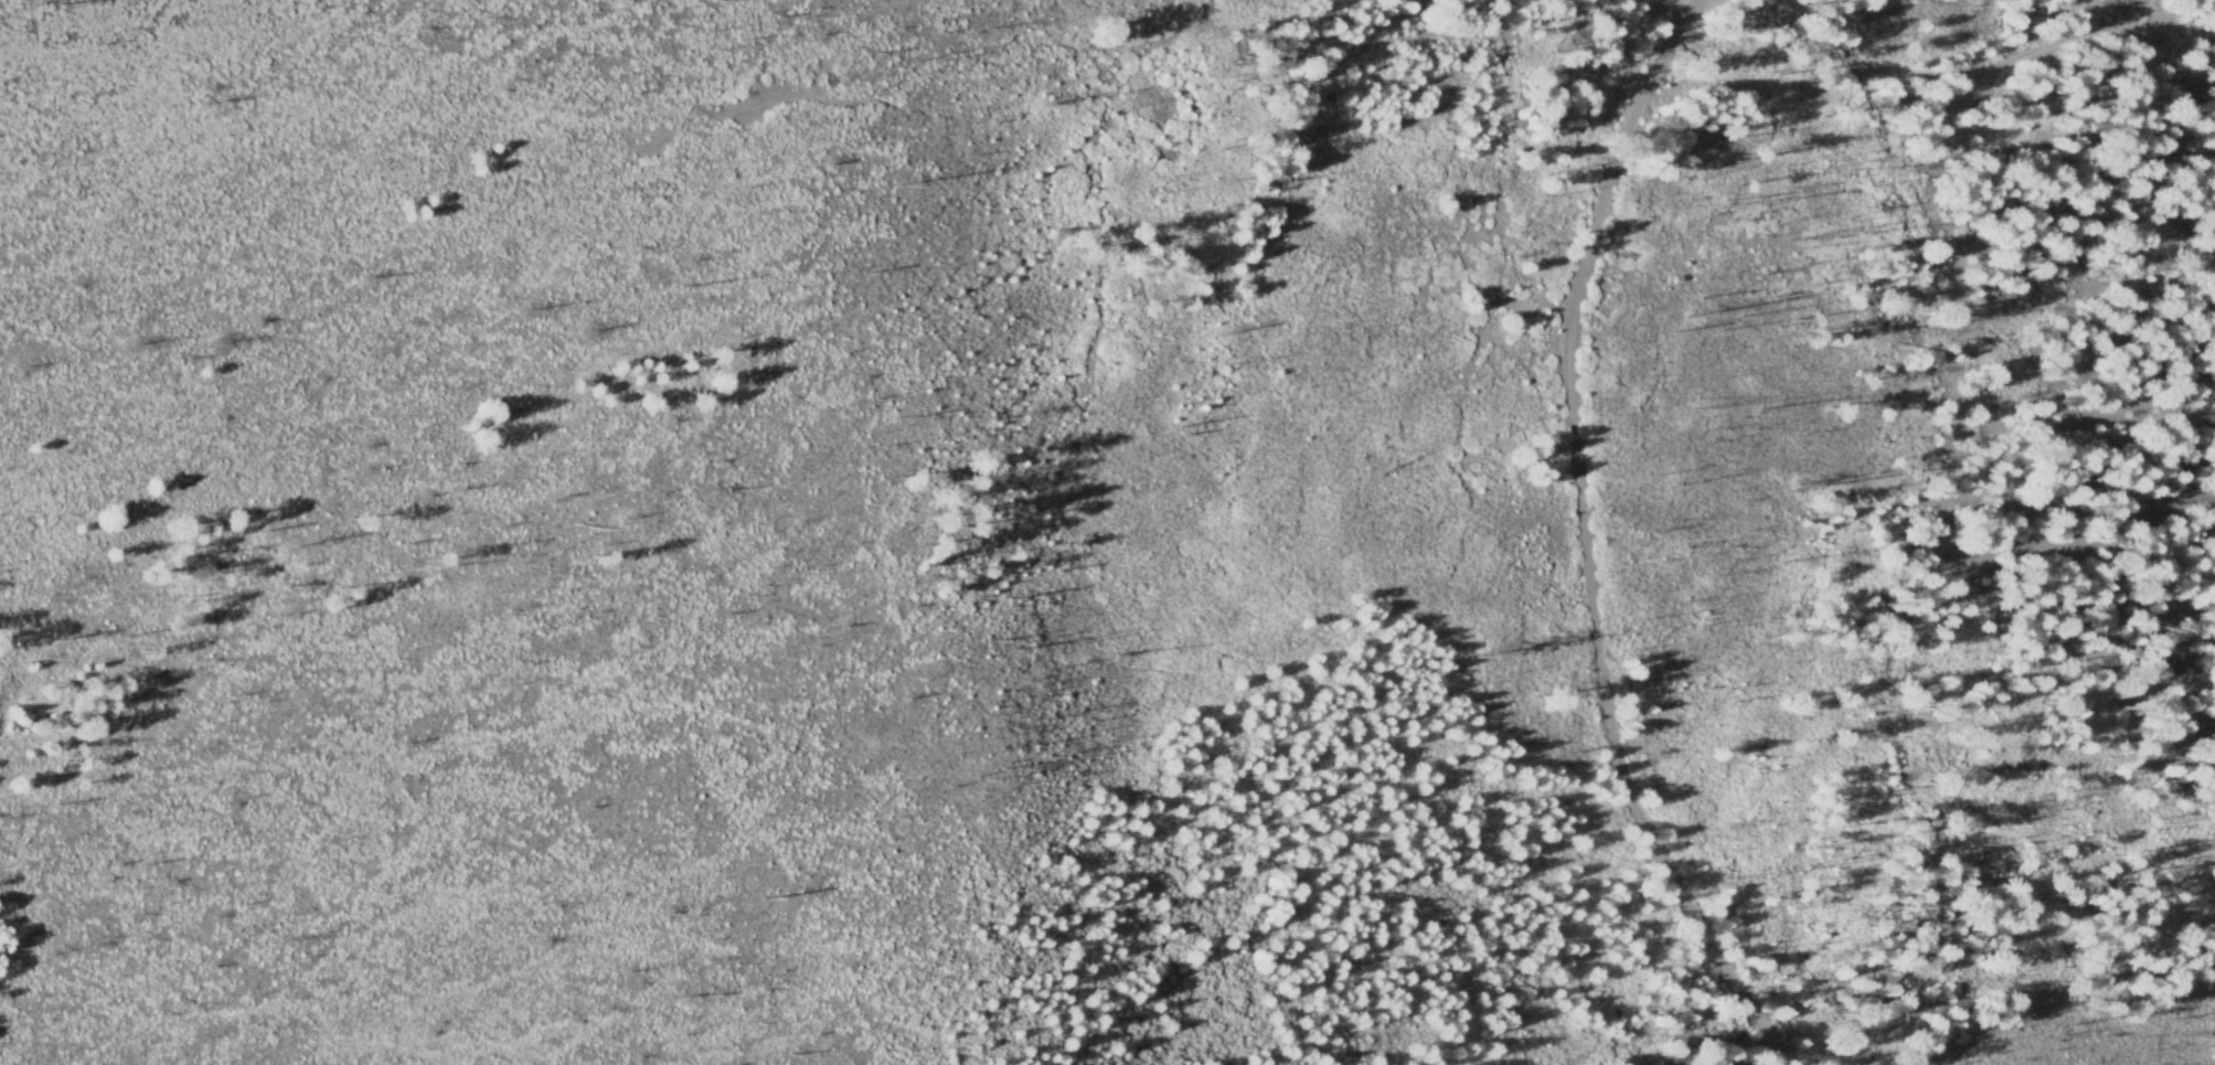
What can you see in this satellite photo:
road: (1586, 542)

